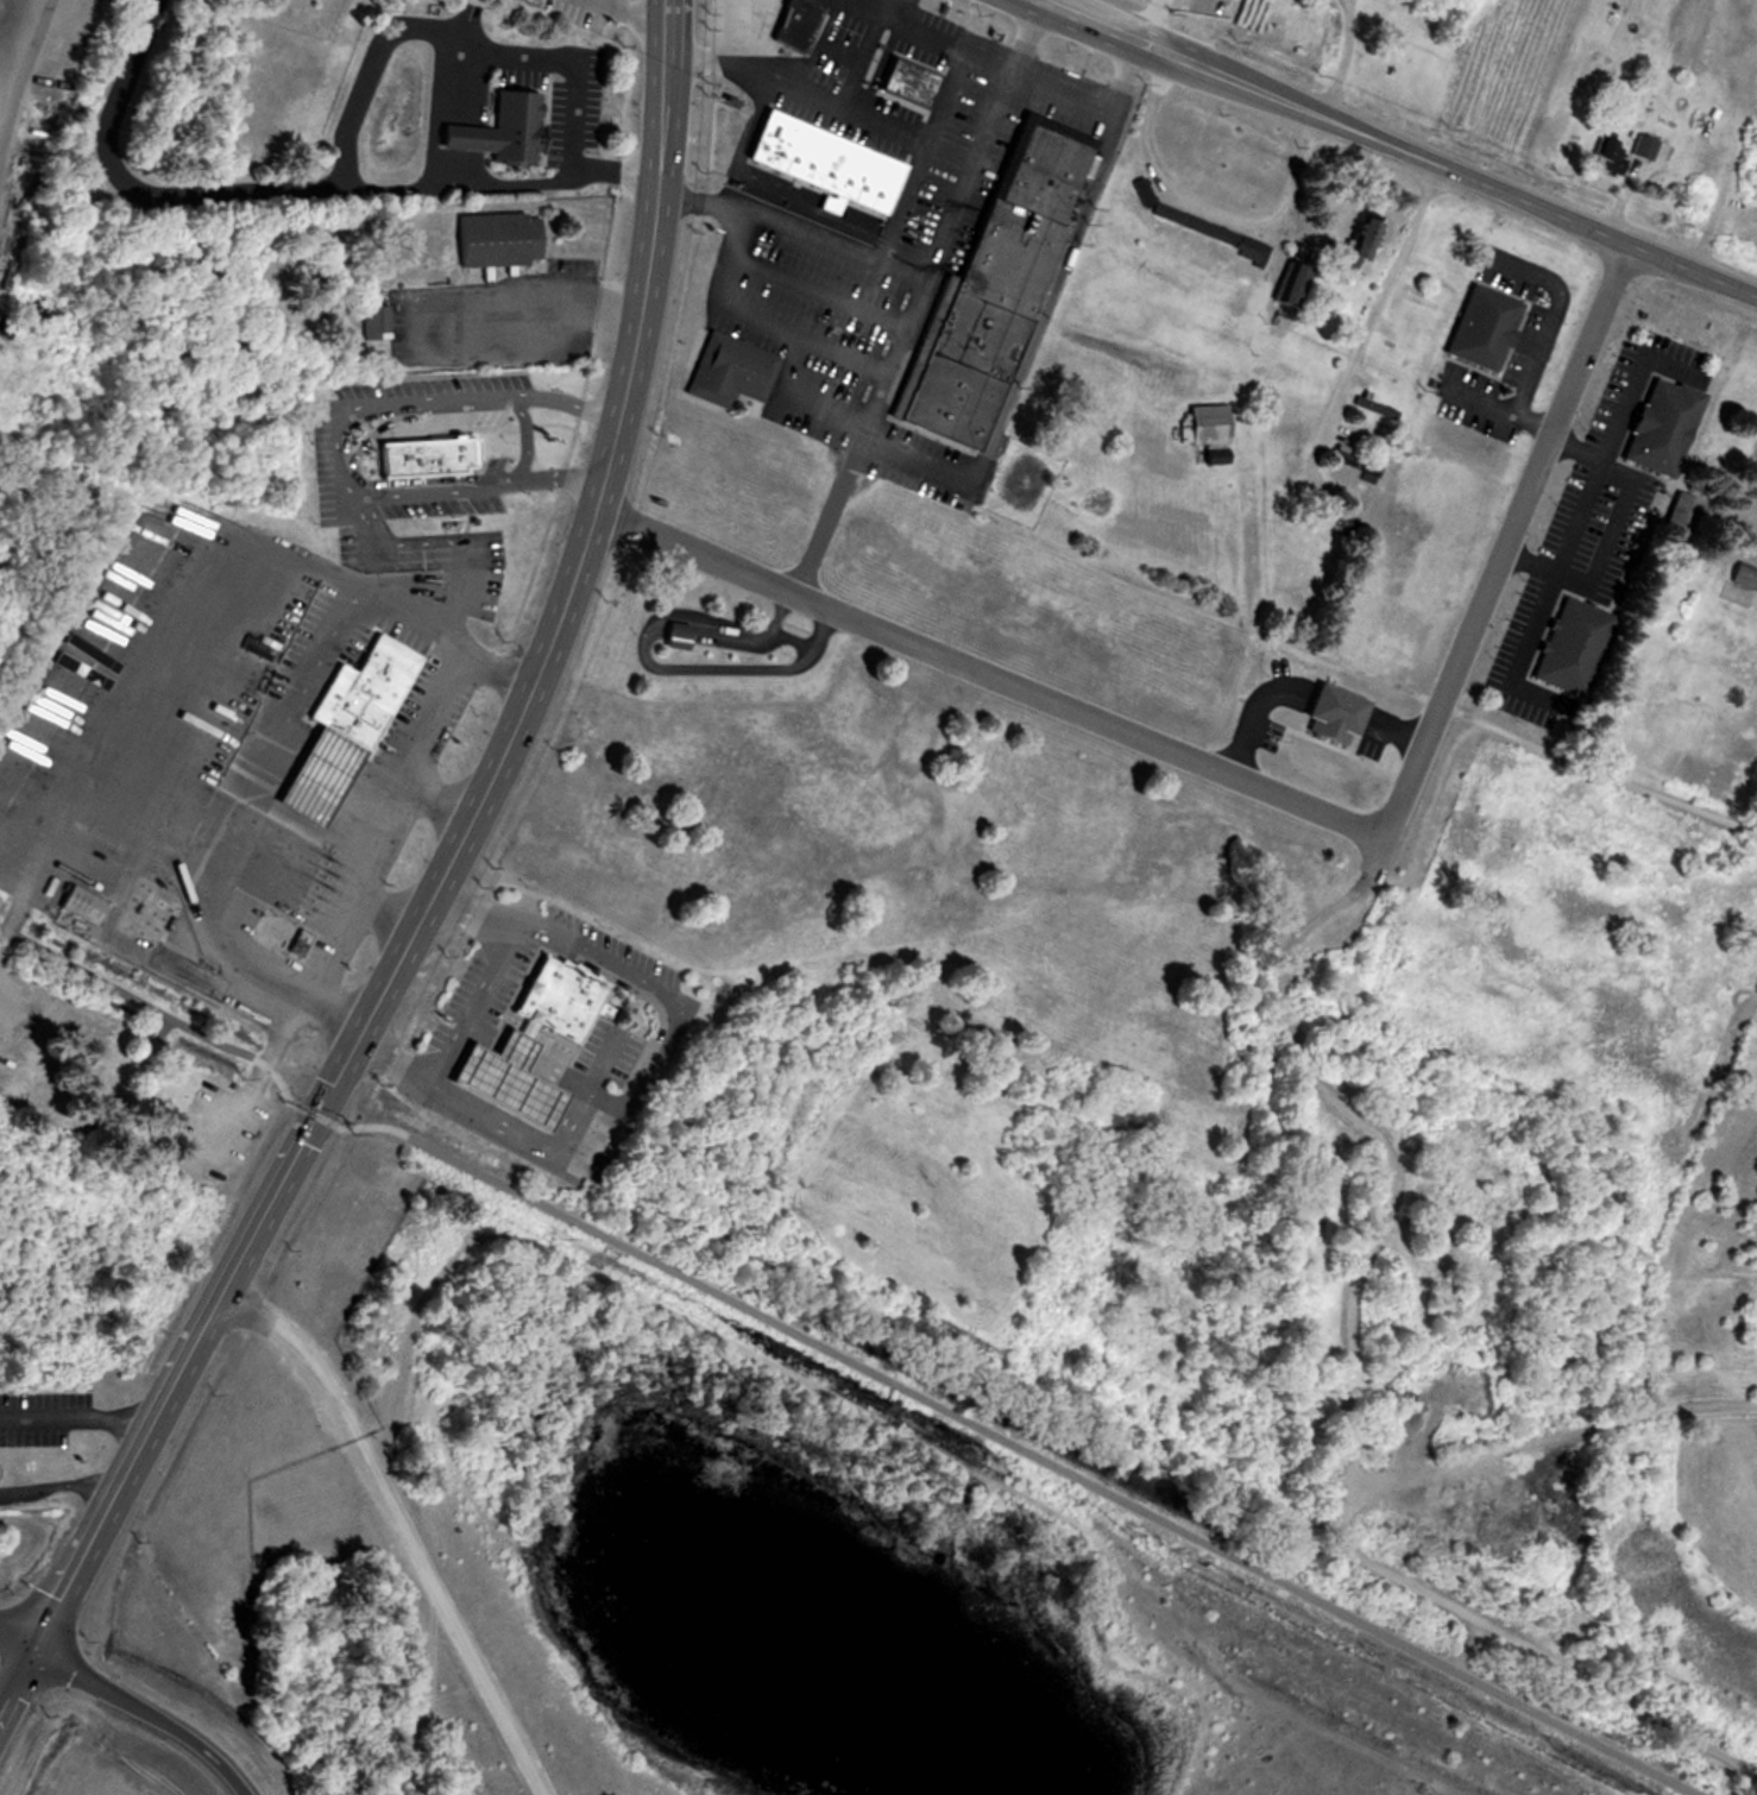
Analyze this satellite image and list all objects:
road: (892, 6)
road: (1347, 8)
road: (1352, 8)
road: (637, 15)
building: (793, 21)
road: (1151, 21)
building: (735, 25)
road: (711, 29)
road: (453, 32)
road: (934, 34)
road: (1342, 69)
building: (911, 84)
road: (819, 95)
road: (1091, 107)
building: (506, 134)
building: (1641, 145)
road: (1398, 149)
building: (1604, 153)
building: (830, 165)
road: (290, 194)
road: (1202, 206)
building: (1191, 220)
road: (835, 238)
building: (502, 241)
building: (1350, 241)
building: (994, 295)
road: (565, 296)
road: (1548, 316)
building: (1468, 319)
building: (370, 321)
road: (1371, 325)
building: (1391, 348)
road: (888, 358)
building: (732, 372)
building: (1368, 401)
road: (1500, 407)
road: (848, 421)
building: (1201, 421)
building: (1652, 423)
road: (339, 442)
building: (1205, 452)
road: (1570, 452)
building: (1755, 453)
building: (1349, 458)
building: (430, 459)
road: (1597, 464)
building: (1676, 510)
road: (829, 511)
building: (1329, 512)
road: (1610, 529)
road: (407, 540)
road: (1503, 541)
road: (376, 565)
building: (1737, 582)
road: (453, 597)
road: (340, 616)
road: (793, 624)
building: (668, 635)
road: (789, 636)
building: (1562, 645)
road: (1517, 649)
road: (651, 662)
road: (984, 674)
building: (361, 686)
building: (304, 767)
road: (1611, 773)
road: (437, 796)
road: (382, 826)
road: (435, 884)
building: (74, 902)
road: (380, 911)
road: (528, 933)
road: (496, 969)
building: (558, 997)
road: (672, 1034)
road: (256, 1071)
building: (509, 1082)
road: (454, 1095)
road: (1385, 1148)
building: (1739, 1321)
road: (838, 1360)
road: (71, 1421)
road: (56, 1488)
road: (397, 1526)
road: (1346, 1542)
road: (13, 1639)
road: (137, 1713)

